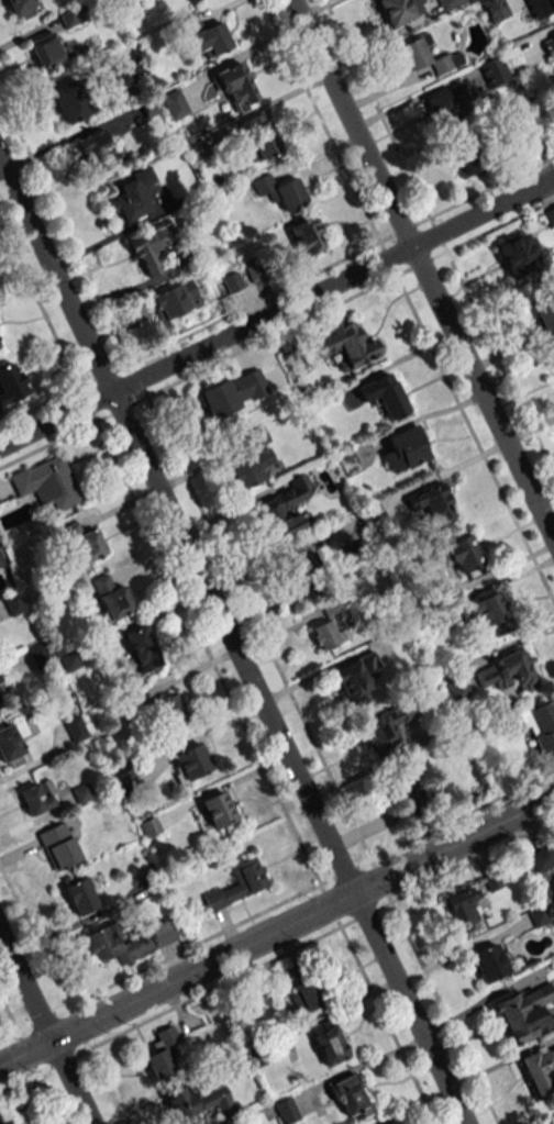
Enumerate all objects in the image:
building: (186, 1)
building: (451, 3)
building: (22, 8)
building: (541, 8)
road: (318, 9)
building: (495, 9)
building: (399, 10)
building: (208, 36)
building: (549, 44)
building: (48, 49)
building: (426, 55)
building: (494, 71)
building: (235, 86)
building: (71, 101)
building: (174, 104)
building: (442, 107)
building: (259, 135)
building: (534, 143)
building: (97, 151)
building: (464, 163)
building: (279, 191)
building: (132, 194)
building: (549, 216)
building: (306, 236)
building: (148, 248)
building: (519, 258)
road: (423, 270)
building: (175, 299)
road: (276, 312)
building: (544, 316)
building: (348, 344)
building: (10, 383)
building: (232, 393)
building: (384, 394)
building: (0, 410)
building: (405, 449)
building: (347, 463)
building: (251, 468)
building: (47, 482)
building: (432, 502)
building: (286, 509)
building: (374, 516)
building: (80, 544)
building: (463, 554)
building: (435, 559)
building: (1, 560)
building: (302, 570)
building: (112, 598)
building: (14, 603)
building: (486, 612)
building: (329, 625)
road: (231, 642)
building: (141, 648)
building: (506, 671)
building: (355, 676)
building: (169, 710)
building: (540, 725)
building: (385, 727)
building: (75, 728)
building: (12, 744)
building: (190, 761)
building: (405, 784)
building: (37, 797)
building: (219, 810)
building: (149, 826)
building: (58, 846)
building: (543, 864)
building: (237, 884)
building: (80, 897)
building: (464, 908)
road: (301, 917)
building: (126, 942)
building: (488, 962)
building: (304, 995)
building: (524, 1012)
road: (42, 1016)
road: (45, 1030)
road: (9, 1032)
building: (329, 1045)
road: (25, 1053)
building: (162, 1053)
building: (540, 1071)
road: (19, 1079)
building: (350, 1095)
building: (197, 1103)
building: (286, 1110)
building: (551, 1120)
building: (5, 1122)

